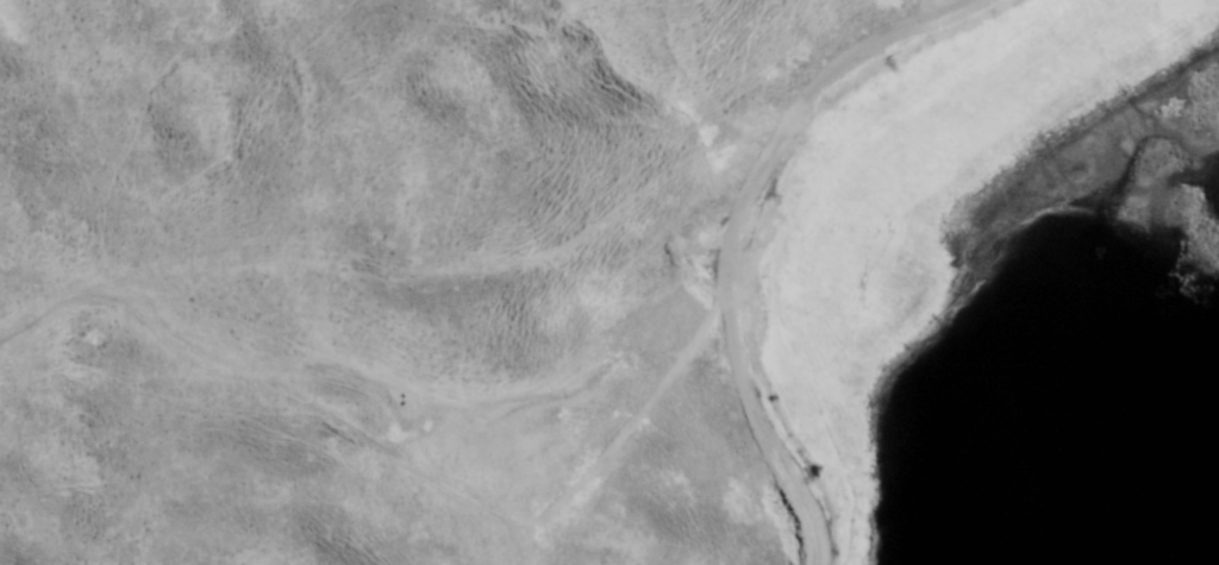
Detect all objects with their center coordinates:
airport runway: (1014, 130)

